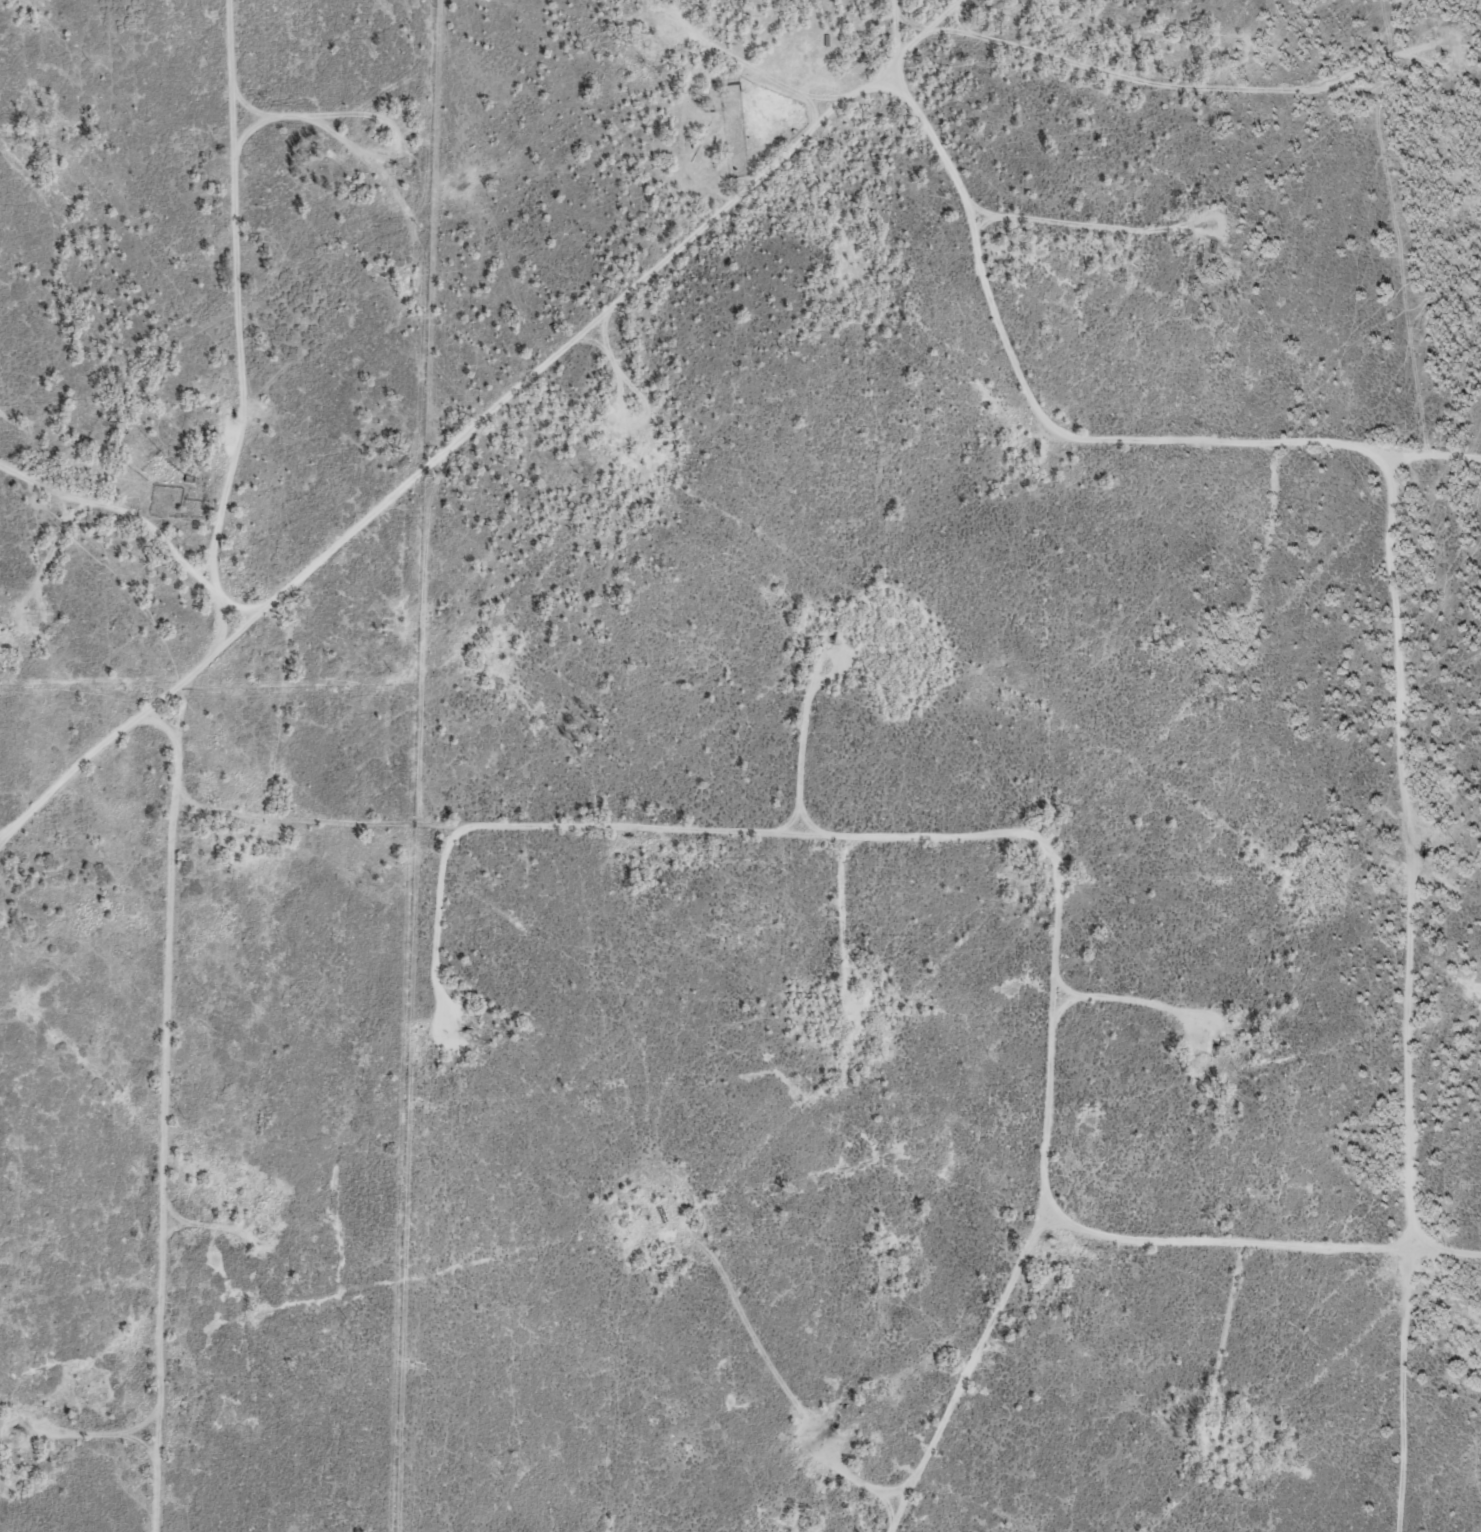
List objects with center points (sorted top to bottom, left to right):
road: (979, 19)
road: (770, 82)
road: (1218, 100)
road: (280, 348)
road: (553, 376)
road: (1284, 461)
road: (130, 523)
road: (1083, 646)
road: (97, 762)
road: (841, 860)
road: (1448, 1009)
road: (223, 1097)
road: (702, 1236)
road: (1298, 1253)
road: (1013, 1379)
road: (1096, 1388)

